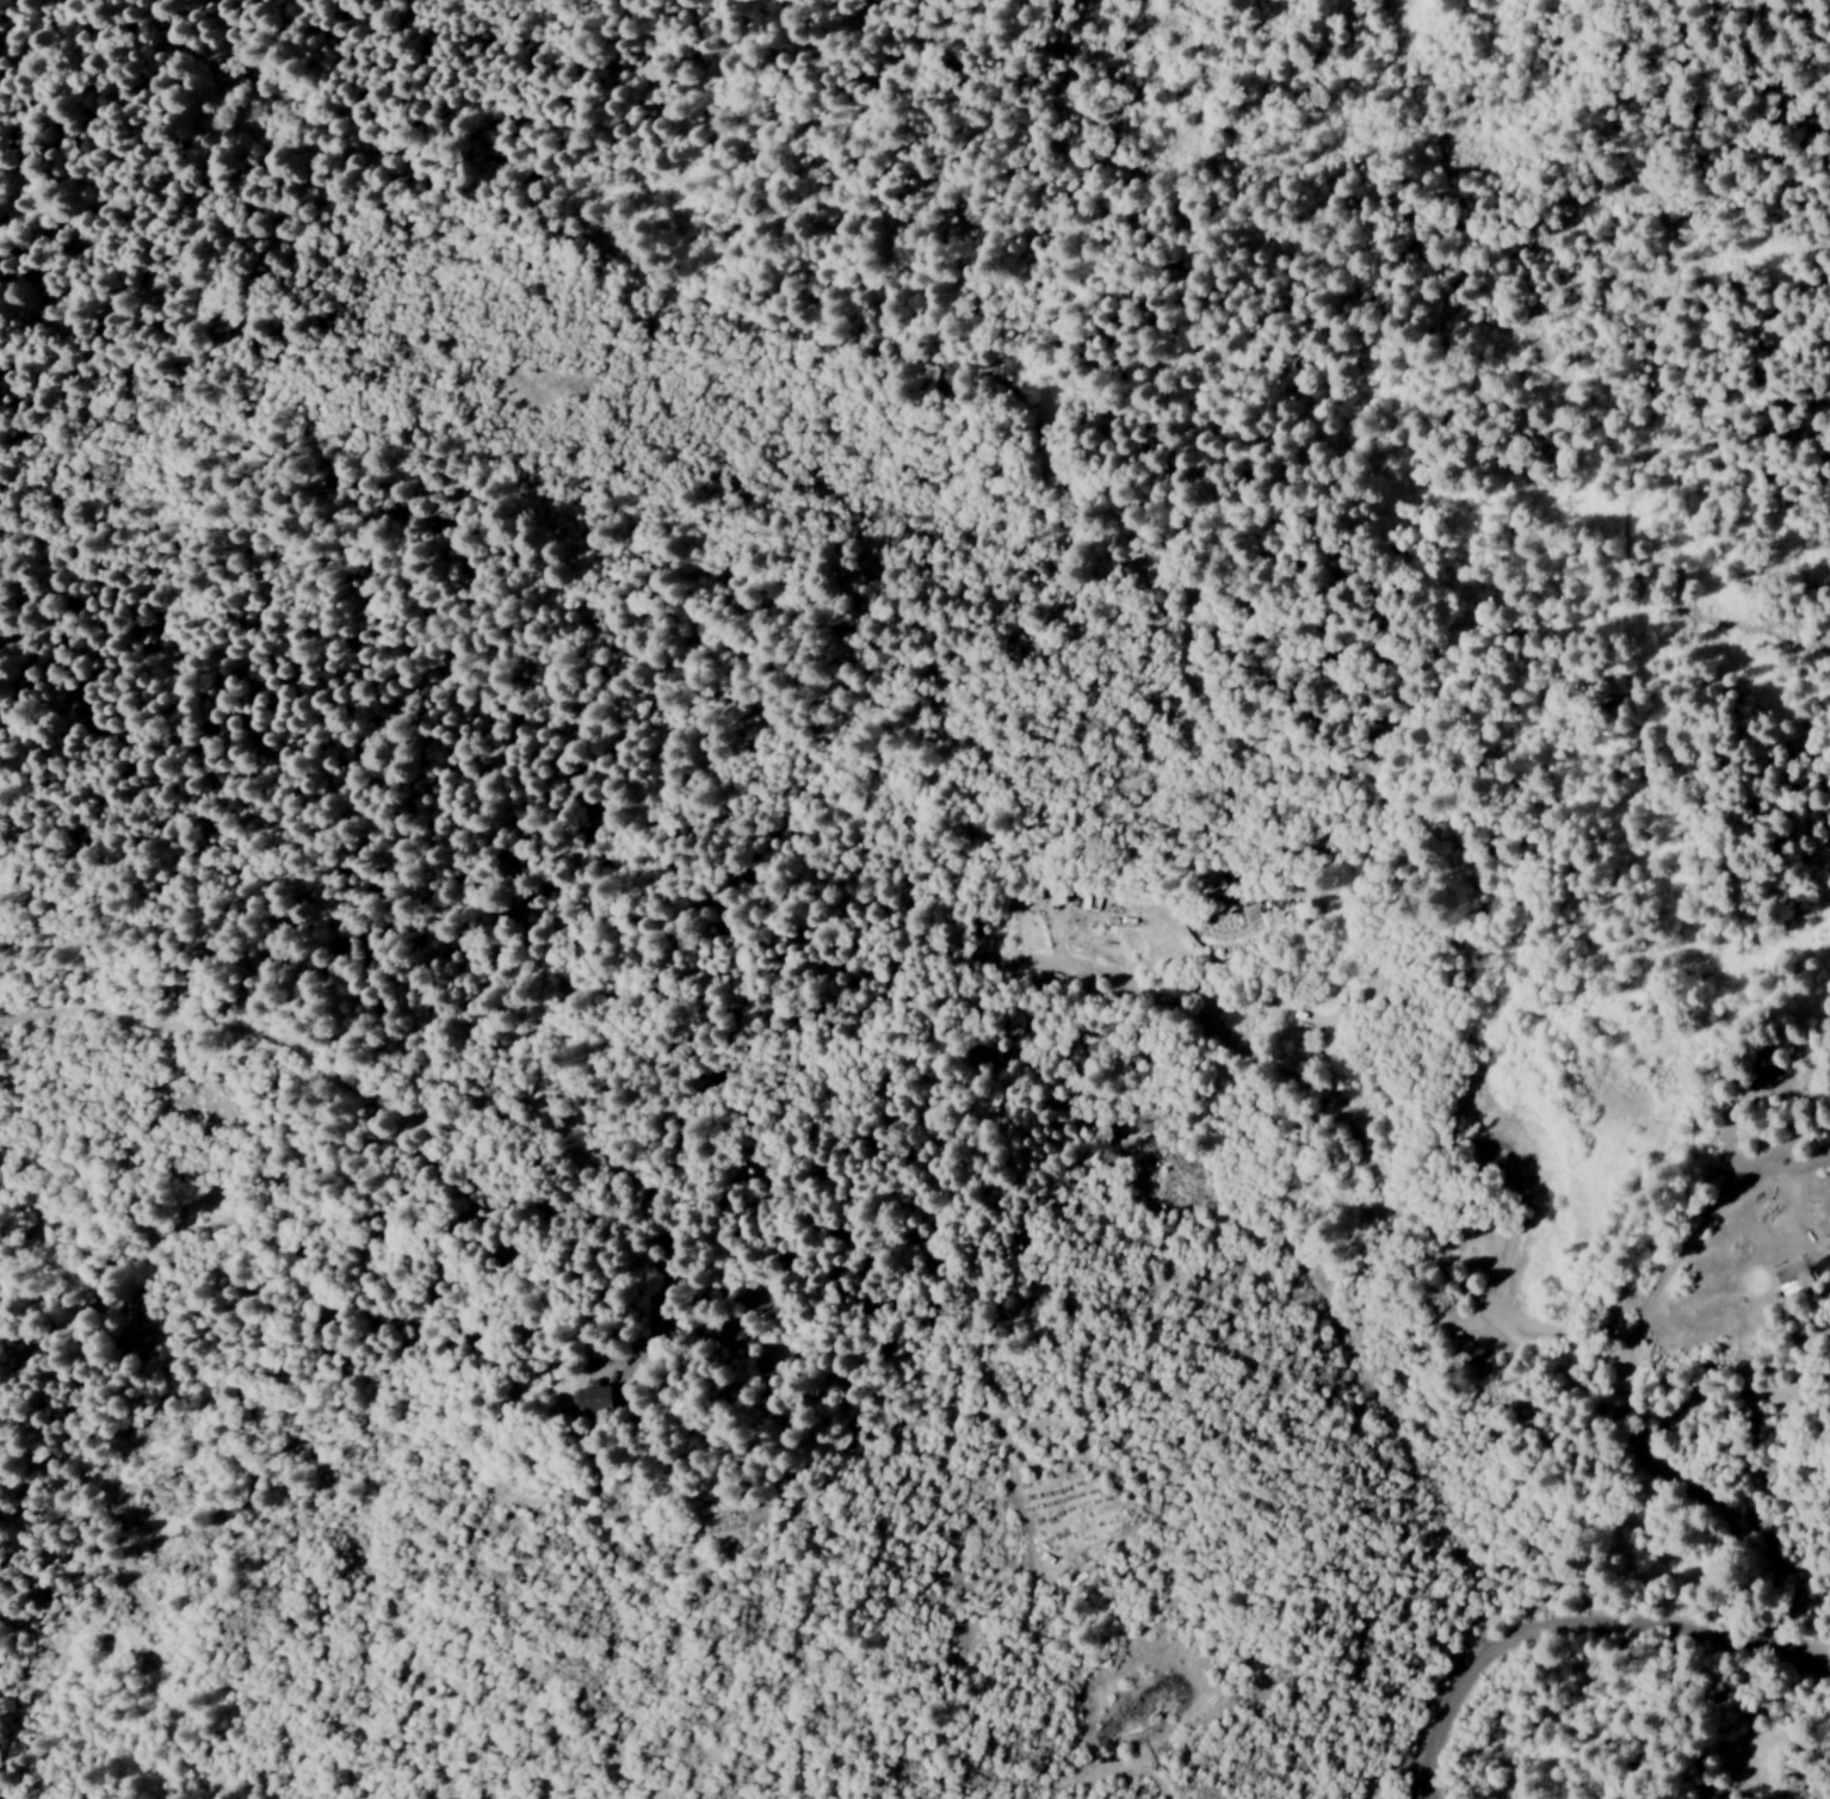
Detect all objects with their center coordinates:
building: (1210, 882)
building: (1791, 1278)
building: (758, 1300)
building: (585, 1398)
road: (1579, 1652)

